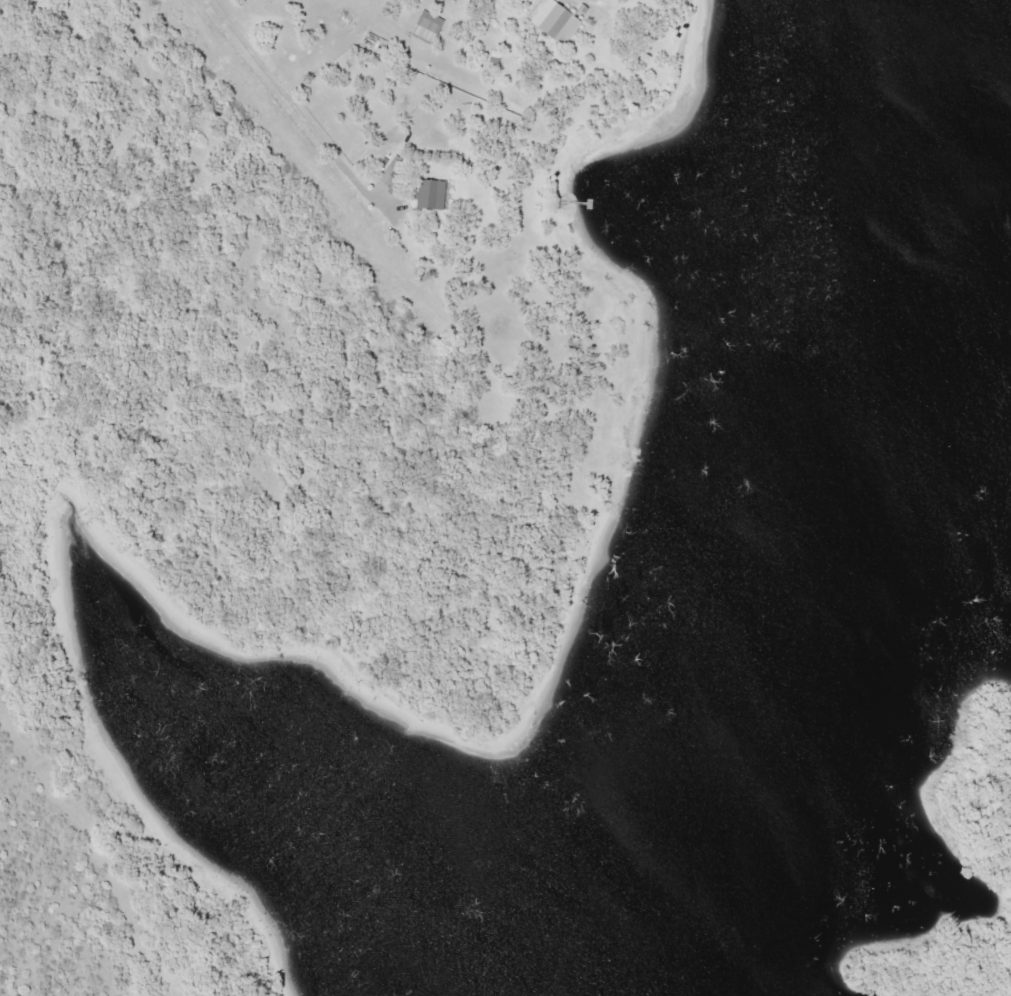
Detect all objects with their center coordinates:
building: (552, 22)
building: (425, 26)
road: (315, 121)
building: (428, 193)
river: (797, 510)

